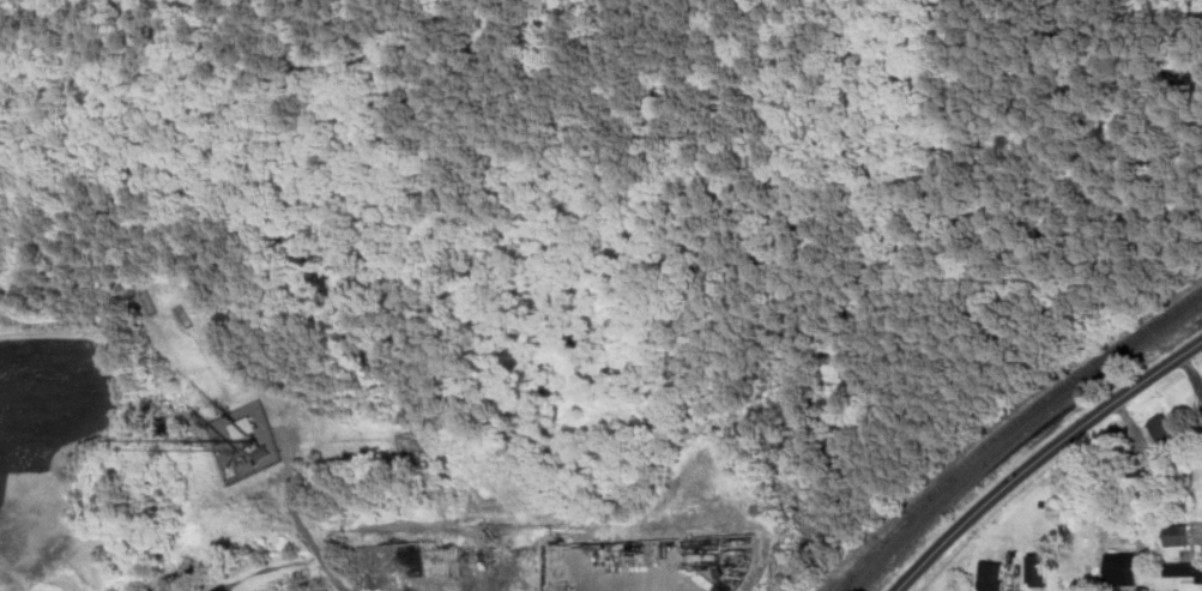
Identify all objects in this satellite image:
building: (1201, 403)
building: (248, 426)
railway: (1009, 427)
building: (1164, 428)
railway: (1017, 435)
road: (1043, 457)
building: (1179, 533)
road: (320, 551)
railway: (858, 562)
building: (1040, 568)
building: (1183, 569)
building: (1118, 571)
building: (993, 575)

